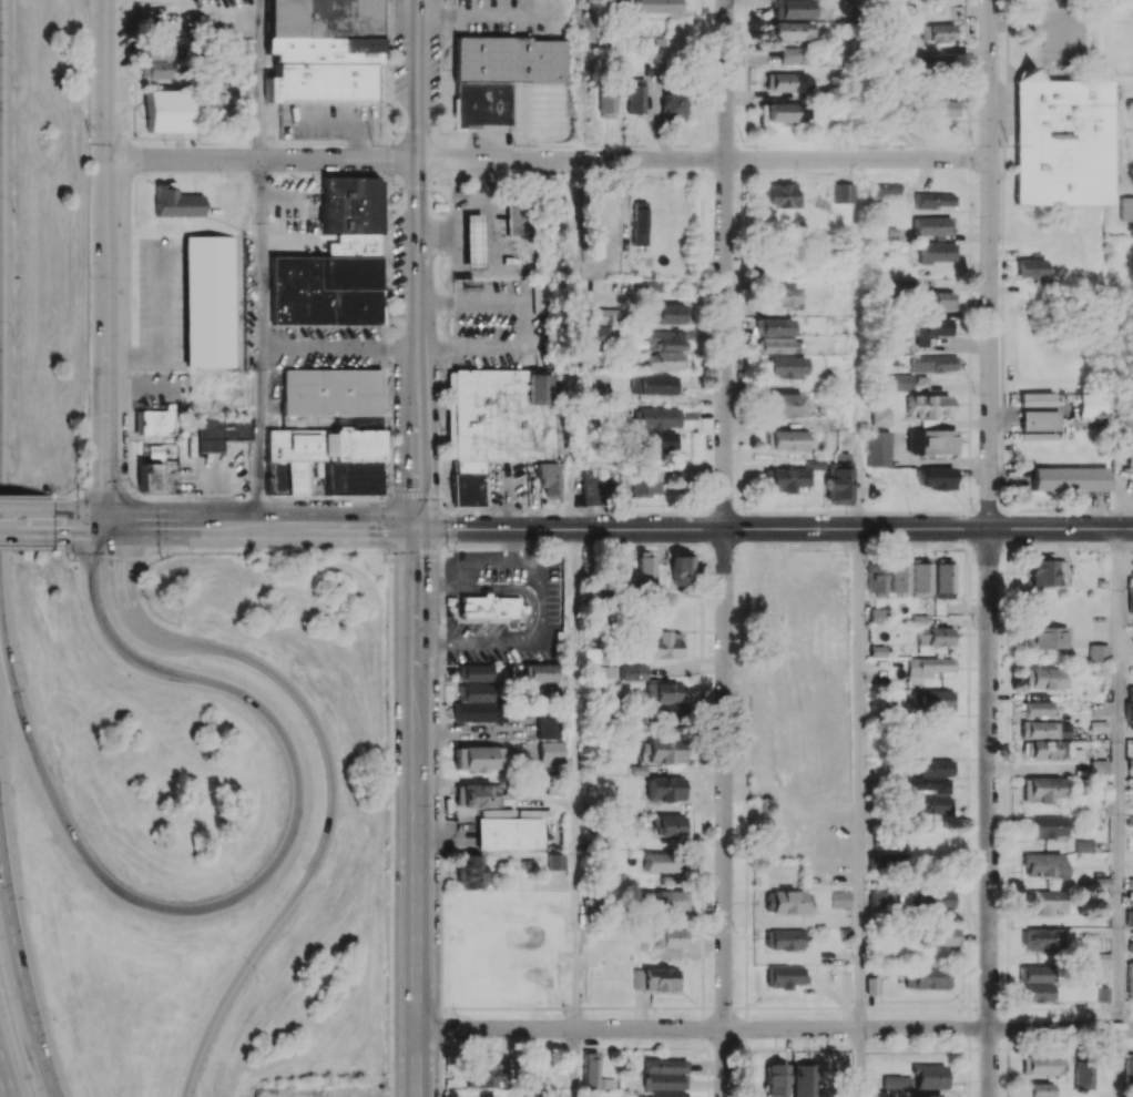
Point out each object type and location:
building: (652, 6)
building: (790, 9)
building: (788, 30)
building: (938, 31)
parking lot: (1061, 37)
building: (323, 49)
building: (155, 50)
building: (786, 55)
building: (935, 63)
building: (156, 69)
building: (502, 74)
building: (785, 81)
building: (631, 95)
building: (220, 101)
building: (603, 101)
building: (668, 104)
building: (940, 109)
building: (167, 111)
building: (782, 112)
building: (1059, 142)
park: (1132, 142)
road: (703, 159)
road: (264, 160)
building: (886, 187)
building: (843, 192)
building: (780, 194)
building: (932, 200)
building: (175, 202)
building: (1124, 209)
building: (524, 217)
building: (639, 223)
building: (931, 225)
building: (472, 241)
building: (937, 252)
road: (109, 261)
road: (259, 262)
building: (334, 263)
road: (418, 263)
road: (990, 263)
road: (725, 264)
building: (1031, 268)
building: (920, 295)
building: (782, 297)
building: (210, 301)
building: (668, 314)
building: (600, 315)
road: (529, 318)
building: (774, 326)
building: (931, 328)
building: (595, 334)
building: (665, 339)
road: (861, 343)
road: (575, 344)
building: (778, 345)
road: (338, 346)
building: (664, 360)
building: (935, 363)
building: (786, 366)
building: (901, 382)
building: (653, 384)
building: (330, 392)
building: (1037, 398)
building: (784, 404)
building: (928, 405)
building: (1091, 405)
building: (881, 416)
building: (656, 417)
building: (1039, 419)
building: (154, 420)
building: (498, 425)
building: (221, 430)
building: (790, 439)
building: (656, 441)
building: (931, 441)
building: (879, 448)
building: (330, 455)
building: (157, 473)
building: (789, 476)
building: (275, 477)
building: (936, 477)
building: (550, 478)
building: (1069, 478)
building: (649, 479)
building: (838, 484)
road: (414, 492)
road: (382, 494)
road: (222, 496)
road: (33, 497)
road: (449, 497)
road: (27, 522)
road: (81, 524)
traffic signals: (109, 524)
road: (263, 525)
traffic signals: (417, 526)
road: (774, 528)
road: (27, 548)
road: (65, 548)
road: (116, 548)
road: (268, 551)
road: (402, 551)
road: (483, 558)
road: (535, 566)
building: (644, 568)
building: (678, 568)
building: (616, 570)
building: (1045, 571)
building: (898, 576)
building: (876, 578)
building: (920, 578)
building: (943, 580)
road: (441, 581)
building: (1131, 600)
building: (489, 608)
building: (878, 616)
building: (920, 619)
road: (542, 627)
building: (1045, 637)
building: (933, 638)
road: (476, 641)
building: (663, 644)
building: (1099, 652)
building: (589, 656)
building: (928, 666)
building: (631, 671)
building: (540, 672)
building: (1044, 678)
building: (476, 682)
building: (662, 691)
building: (931, 701)
building: (1038, 708)
building: (473, 711)
building: (1129, 711)
building: (549, 723)
building: (1047, 729)
road: (469, 730)
building: (1053, 749)
building: (663, 751)
building: (552, 753)
building: (478, 758)
building: (1099, 768)
road: (331, 770)
building: (929, 776)
road: (578, 778)
road: (862, 778)
road: (1121, 778)
building: (1130, 784)
building: (666, 789)
building: (1042, 789)
building: (479, 795)
building: (930, 803)
road: (418, 811)
road: (725, 812)
road: (990, 812)
building: (671, 824)
building: (1045, 826)
building: (511, 829)
building: (1083, 845)
building: (886, 860)
building: (557, 861)
building: (661, 862)
building: (1044, 864)
building: (471, 872)
road: (265, 877)
building: (1131, 882)
building: (839, 898)
building: (878, 898)
building: (937, 898)
building: (660, 900)
building: (785, 901)
building: (1043, 901)
building: (1129, 917)
building: (938, 935)
building: (672, 937)
building: (784, 938)
building: (1042, 939)
building: (1130, 946)
road: (21, 975)
building: (784, 976)
building: (926, 977)
building: (655, 978)
building: (1130, 978)
building: (1035, 983)
building: (1102, 993)
road: (775, 1028)
road: (578, 1063)
road: (862, 1063)
road: (1121, 1063)
building: (1041, 1065)
building: (594, 1074)
building: (664, 1074)
building: (483, 1075)
building: (1082, 1077)
building: (917, 1078)
building: (775, 1080)
building: (805, 1080)
road: (3, 1083)
road: (3, 1088)
building: (1040, 1089)
building: (665, 1094)
building: (926, 1096)

